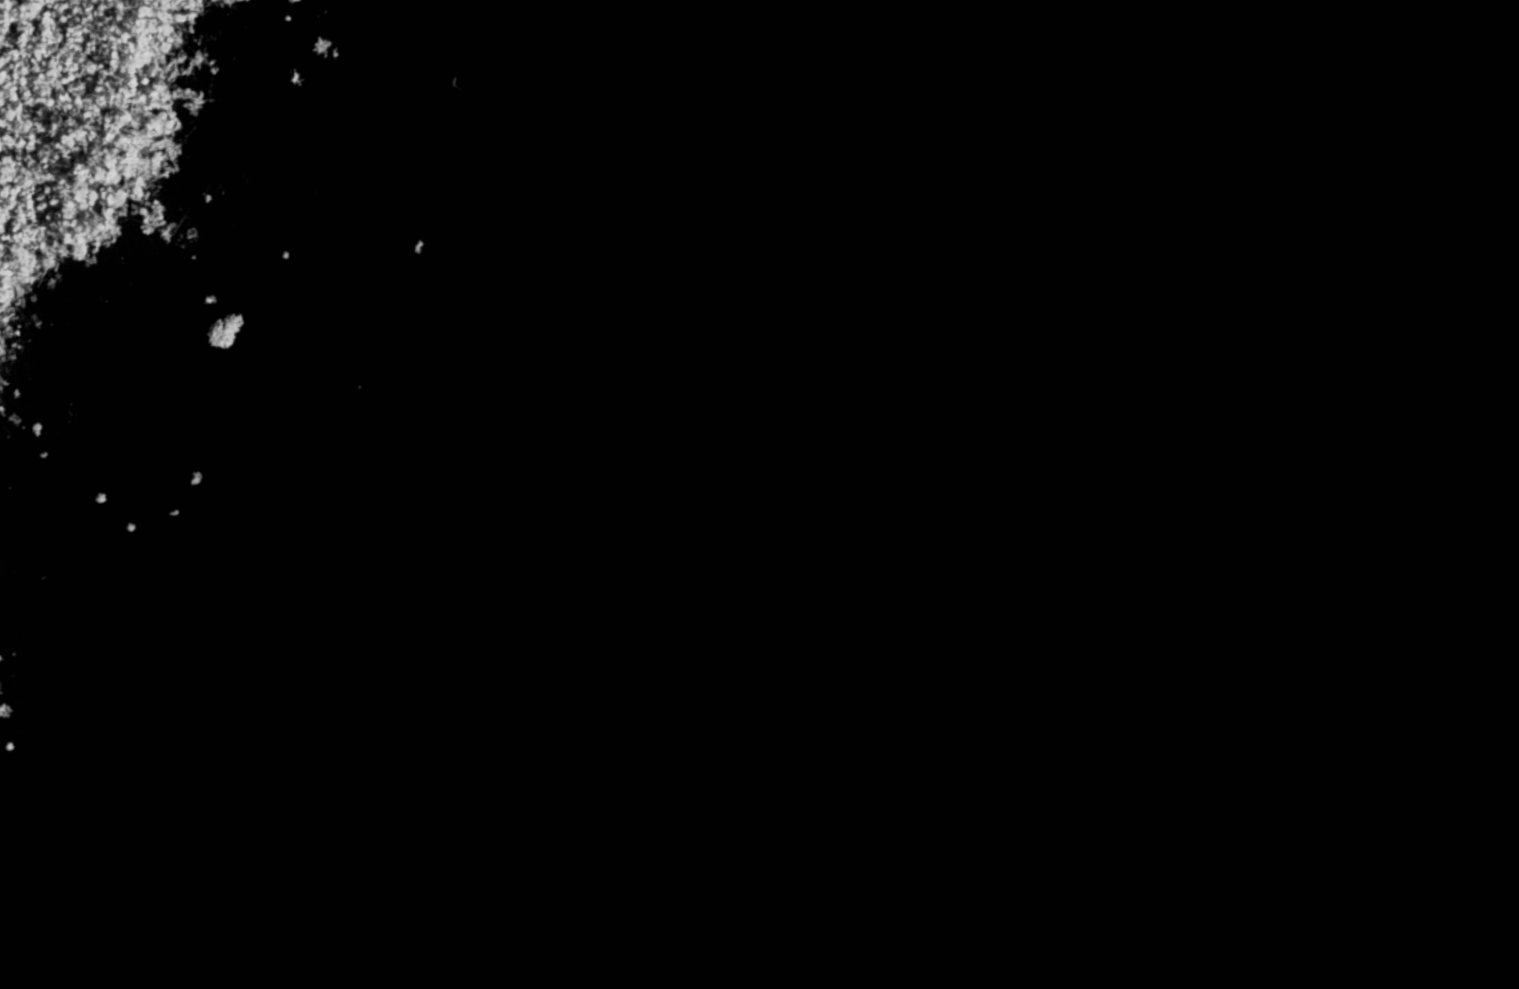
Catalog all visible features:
river: (1338, 494)

